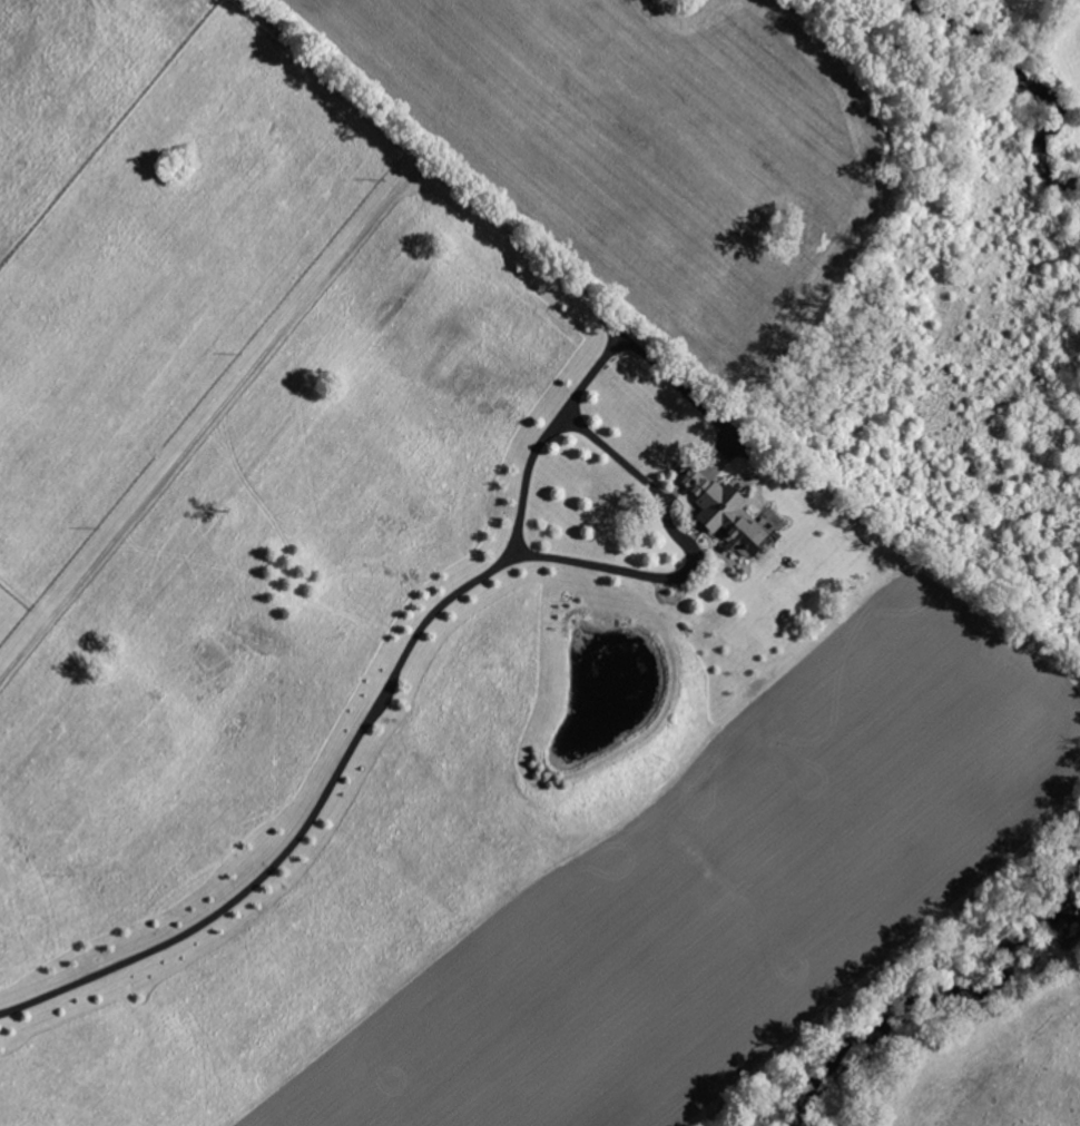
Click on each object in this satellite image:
road: (285, 325)
road: (618, 328)
building: (723, 506)
road: (365, 723)

